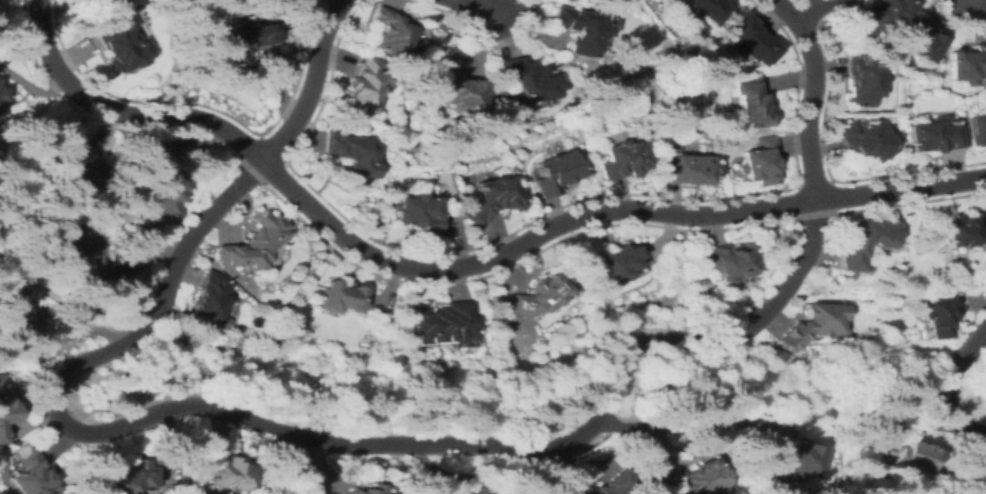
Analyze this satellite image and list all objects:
building: (548, 0)
building: (557, 0)
road: (474, 4)
building: (704, 9)
road: (809, 12)
building: (878, 15)
building: (573, 29)
building: (390, 33)
building: (743, 37)
building: (921, 40)
building: (243, 41)
building: (123, 45)
building: (967, 64)
building: (523, 80)
building: (860, 81)
building: (364, 84)
building: (453, 85)
road: (312, 86)
road: (810, 94)
building: (1, 95)
building: (748, 101)
building: (977, 129)
building: (933, 135)
building: (866, 139)
building: (350, 154)
building: (68, 157)
building: (624, 160)
building: (760, 161)
building: (690, 169)
building: (554, 173)
building: (161, 183)
building: (494, 199)
building: (420, 215)
building: (956, 230)
building: (862, 241)
building: (253, 243)
building: (73, 247)
building: (616, 261)
building: (730, 261)
road: (457, 270)
building: (536, 295)
building: (209, 297)
building: (341, 297)
building: (11, 308)
building: (941, 316)
building: (443, 323)
building: (811, 324)
road: (752, 325)
road: (30, 362)
road: (951, 385)
road: (614, 388)
building: (5, 410)
road: (162, 412)
road: (682, 421)
building: (905, 453)
building: (795, 457)
building: (225, 472)
building: (30, 473)
building: (126, 475)
building: (693, 477)
building: (602, 485)
building: (365, 489)
building: (478, 490)

